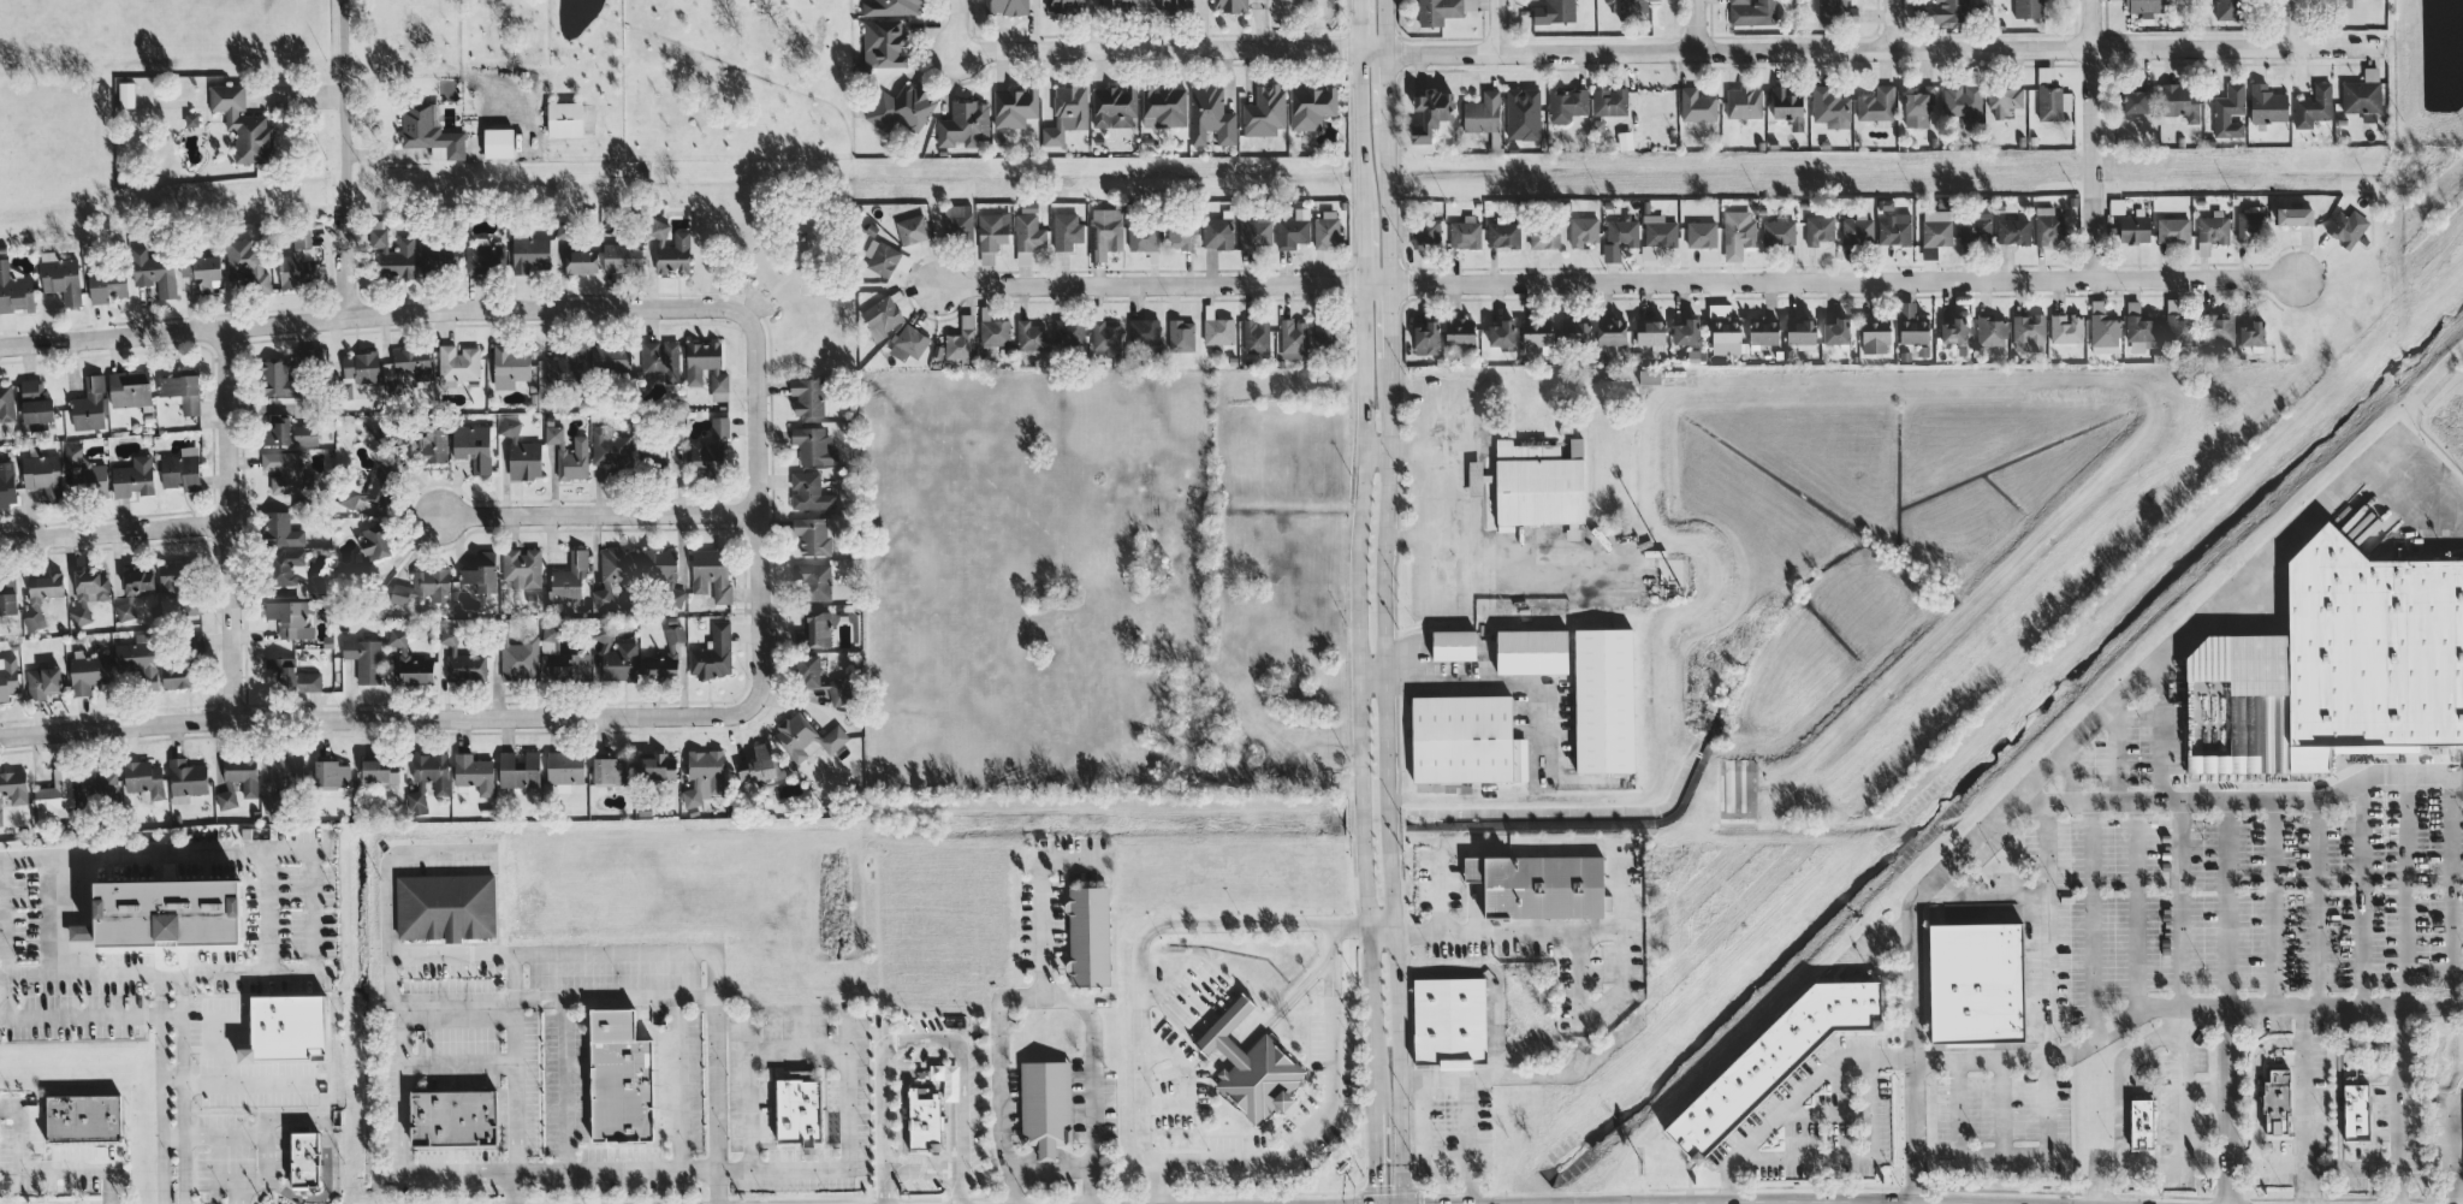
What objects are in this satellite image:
building: (1062, 5)
building: (1117, 5)
building: (1229, 5)
building: (2147, 5)
building: (890, 6)
building: (1007, 6)
building: (1175, 6)
building: (2028, 8)
road: (1290, 10)
building: (1441, 10)
building: (1633, 10)
building: (2228, 10)
building: (1554, 11)
building: (1836, 11)
building: (1947, 11)
building: (1751, 12)
road: (1305, 22)
road: (2284, 24)
road: (960, 25)
road: (1695, 25)
road: (1889, 25)
road: (1501, 26)
building: (884, 43)
road: (1161, 49)
road: (1870, 51)
road: (428, 70)
building: (2362, 93)
building: (126, 94)
building: (2004, 99)
building: (2052, 99)
building: (2180, 100)
building: (1609, 101)
building: (1963, 101)
building: (2135, 101)
building: (1744, 102)
building: (1876, 103)
building: (2267, 103)
building: (1566, 105)
building: (1697, 105)
building: (1015, 106)
building: (1114, 106)
building: (1163, 106)
building: (1311, 106)
building: (1918, 106)
building: (2313, 106)
building: (1787, 107)
building: (1830, 107)
building: (901, 108)
building: (1264, 111)
building: (2228, 111)
building: (1067, 112)
building: (1430, 112)
building: (1482, 113)
building: (1523, 113)
building: (1210, 115)
building: (565, 118)
building: (191, 119)
building: (242, 123)
building: (963, 124)
building: (429, 131)
road: (2091, 138)
building: (498, 142)
road: (385, 152)
road: (344, 158)
building: (2115, 204)
building: (2293, 215)
building: (957, 220)
building: (2250, 225)
building: (2048, 226)
building: (1975, 227)
building: (2133, 227)
building: (2346, 227)
building: (913, 229)
building: (1818, 229)
building: (1857, 229)
building: (1894, 229)
building: (992, 230)
building: (1067, 230)
building: (1293, 230)
building: (1325, 230)
building: (2173, 230)
building: (1105, 231)
building: (1217, 231)
building: (1583, 231)
building: (1658, 231)
building: (1935, 231)
building: (2013, 231)
building: (2212, 231)
building: (1028, 232)
building: (1425, 232)
building: (1465, 232)
building: (1779, 232)
building: (1701, 233)
building: (1738, 233)
building: (1181, 235)
building: (1256, 235)
building: (1503, 235)
building: (1544, 235)
building: (1143, 237)
building: (1619, 237)
building: (670, 248)
building: (576, 250)
building: (529, 251)
building: (394, 253)
building: (435, 255)
building: (483, 255)
building: (622, 256)
building: (885, 257)
building: (987, 257)
building: (297, 261)
building: (248, 263)
building: (203, 271)
building: (154, 272)
building: (61, 277)
road: (1612, 283)
building: (107, 284)
building: (14, 290)
road: (372, 314)
building: (882, 315)
building: (2141, 324)
building: (2177, 324)
building: (1911, 325)
building: (2103, 326)
building: (2218, 326)
building: (2066, 327)
building: (1459, 330)
building: (1763, 330)
building: (1217, 331)
building: (1574, 331)
building: (1610, 331)
building: (1836, 331)
building: (1953, 331)
building: (1992, 331)
building: (1069, 332)
building: (1144, 332)
building: (1324, 332)
building: (1650, 332)
building: (1686, 332)
building: (2028, 332)
building: (1501, 333)
building: (1536, 333)
building: (1802, 333)
building: (2251, 333)
building: (1031, 334)
building: (1726, 334)
building: (1875, 334)
building: (1181, 336)
building: (1256, 336)
building: (1293, 338)
building: (1425, 338)
building: (961, 339)
building: (1105, 339)
building: (908, 342)
building: (311, 355)
building: (611, 355)
building: (661, 358)
building: (458, 362)
building: (511, 364)
building: (705, 364)
building: (362, 366)
building: (406, 367)
building: (564, 368)
building: (1649, 376)
building: (279, 379)
building: (31, 387)
building: (130, 387)
building: (182, 391)
building: (807, 396)
building: (6, 402)
building: (90, 404)
building: (36, 411)
building: (289, 432)
building: (434, 444)
building: (473, 445)
building: (813, 445)
building: (609, 447)
building: (711, 449)
road: (1396, 451)
building: (73, 452)
building: (521, 452)
building: (569, 453)
building: (654, 453)
building: (182, 469)
building: (284, 470)
building: (43, 474)
building: (133, 476)
building: (1476, 476)
building: (7, 484)
building: (1536, 485)
building: (370, 488)
building: (809, 491)
road: (755, 511)
road: (597, 514)
road: (229, 523)
road: (114, 530)
building: (281, 530)
building: (813, 535)
road: (1407, 538)
building: (374, 541)
road: (1559, 546)
building: (659, 564)
building: (522, 567)
building: (289, 569)
building: (711, 571)
building: (481, 573)
building: (615, 573)
building: (569, 576)
building: (138, 580)
building: (813, 581)
building: (425, 586)
building: (177, 588)
building: (89, 593)
building: (42, 597)
building: (8, 599)
road: (1359, 601)
road: (1385, 601)
building: (124, 610)
building: (290, 617)
building: (814, 629)
building: (397, 636)
building: (194, 640)
building: (1452, 645)
building: (1530, 651)
building: (713, 652)
building: (137, 657)
building: (664, 657)
building: (364, 658)
building: (520, 658)
building: (462, 659)
building: (616, 659)
building: (572, 666)
building: (414, 669)
building: (88, 671)
building: (179, 671)
road: (1373, 671)
building: (293, 674)
building: (7, 676)
building: (2331, 676)
building: (823, 680)
building: (43, 681)
road: (1502, 686)
building: (1603, 700)
road: (372, 717)
building: (807, 737)
building: (1464, 740)
road: (2073, 749)
building: (761, 766)
building: (565, 767)
building: (657, 767)
building: (520, 769)
building: (380, 770)
building: (610, 771)
building: (474, 772)
building: (332, 773)
building: (704, 776)
building: (143, 777)
building: (238, 778)
building: (427, 778)
building: (186, 779)
building: (97, 784)
building: (13, 788)
building: (57, 795)
road: (2238, 809)
road: (284, 848)
road: (1616, 867)
road: (387, 878)
building: (1539, 885)
road: (1040, 895)
building: (446, 906)
road: (267, 909)
building: (168, 912)
parking lot: (2253, 914)
road: (55, 915)
road: (1161, 926)
building: (82, 931)
building: (1088, 936)
road: (2, 937)
road: (2042, 942)
road: (450, 954)
road: (613, 954)
road: (82, 974)
road: (171, 974)
building: (1972, 997)
road: (470, 998)
road: (1283, 1003)
road: (1186, 1004)
road: (797, 1009)
road: (2182, 1009)
road: (171, 1014)
road: (79, 1015)
building: (1449, 1021)
building: (287, 1027)
road: (2178, 1049)
road: (797, 1054)
road: (1092, 1062)
road: (457, 1066)
building: (1251, 1066)
road: (172, 1074)
building: (1770, 1074)
building: (619, 1078)
road: (714, 1078)
road: (961, 1078)
road: (515, 1079)
road: (1185, 1081)
road: (677, 1083)
road: (563, 1085)
road: (2121, 1087)
road: (162, 1089)
road: (182, 1089)
road: (1794, 1095)
road: (999, 1101)
building: (2275, 1102)
building: (1045, 1105)
road: (2231, 1107)
road: (2303, 1107)
road: (2398, 1107)
building: (799, 1111)
road: (1472, 1111)
building: (453, 1117)
building: (924, 1119)
road: (1320, 1120)
road: (882, 1127)
building: (2355, 1127)
road: (190, 1135)
building: (2138, 1140)
road: (263, 1145)
road: (2178, 1147)
road: (2449, 1147)
road: (1425, 1150)
road: (326, 1155)
road: (1852, 1156)
building: (304, 1159)
road: (216, 1166)
road: (2313, 1166)
road: (41, 1169)
road: (624, 1170)
road: (1050, 1170)
road: (1155, 1182)
traffic signals: (1373, 1185)
road: (2457, 1187)
road: (237, 1193)

